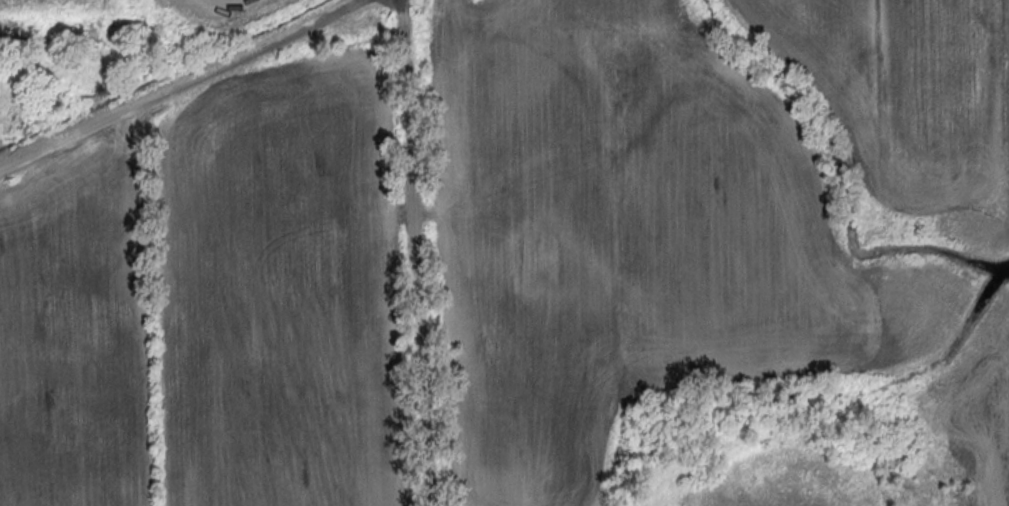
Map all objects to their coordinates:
road: (180, 85)
road: (416, 253)
river: (1004, 268)

